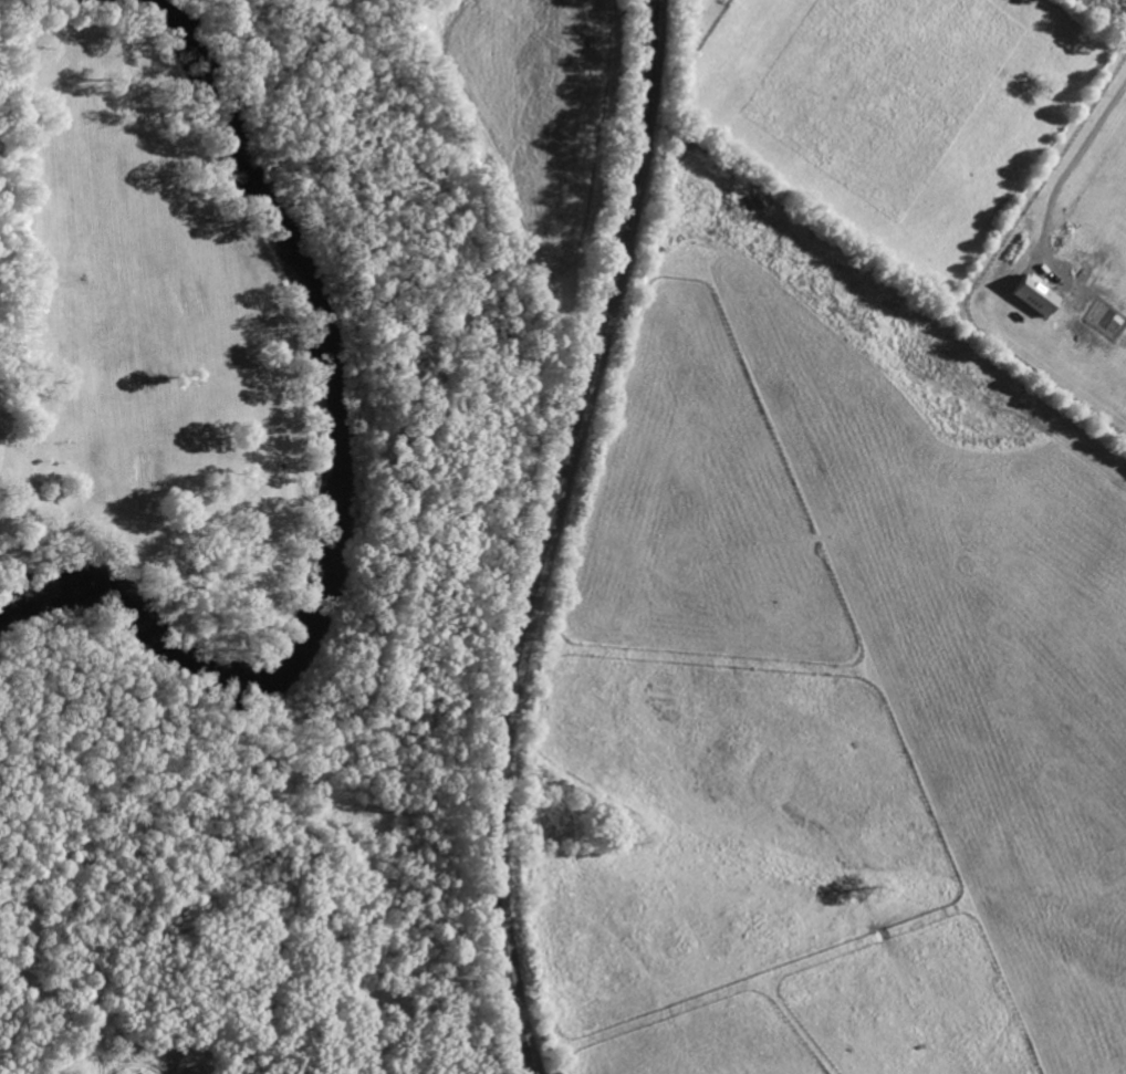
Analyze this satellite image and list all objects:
railway: (548, 535)

